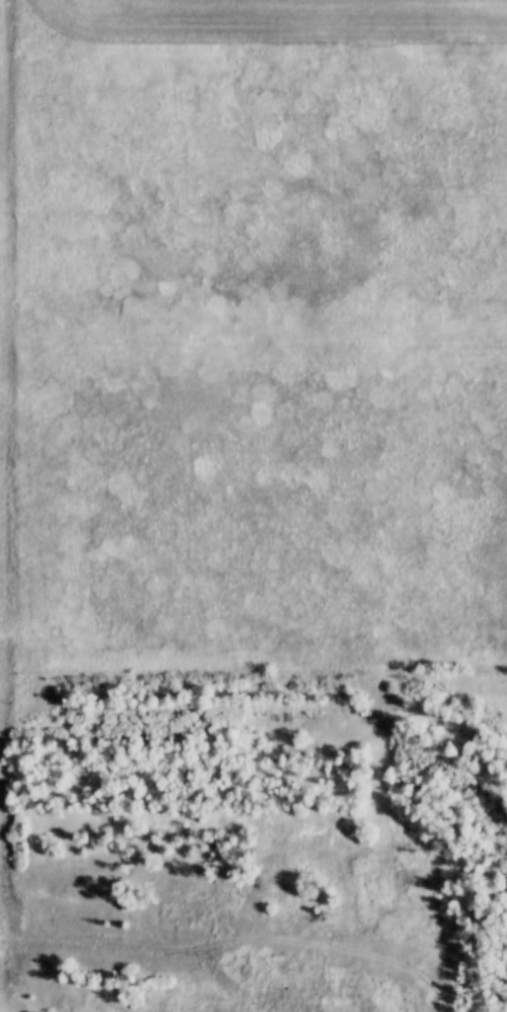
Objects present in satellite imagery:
building: (407, 880)
building: (179, 912)
road: (141, 947)
road: (215, 971)

